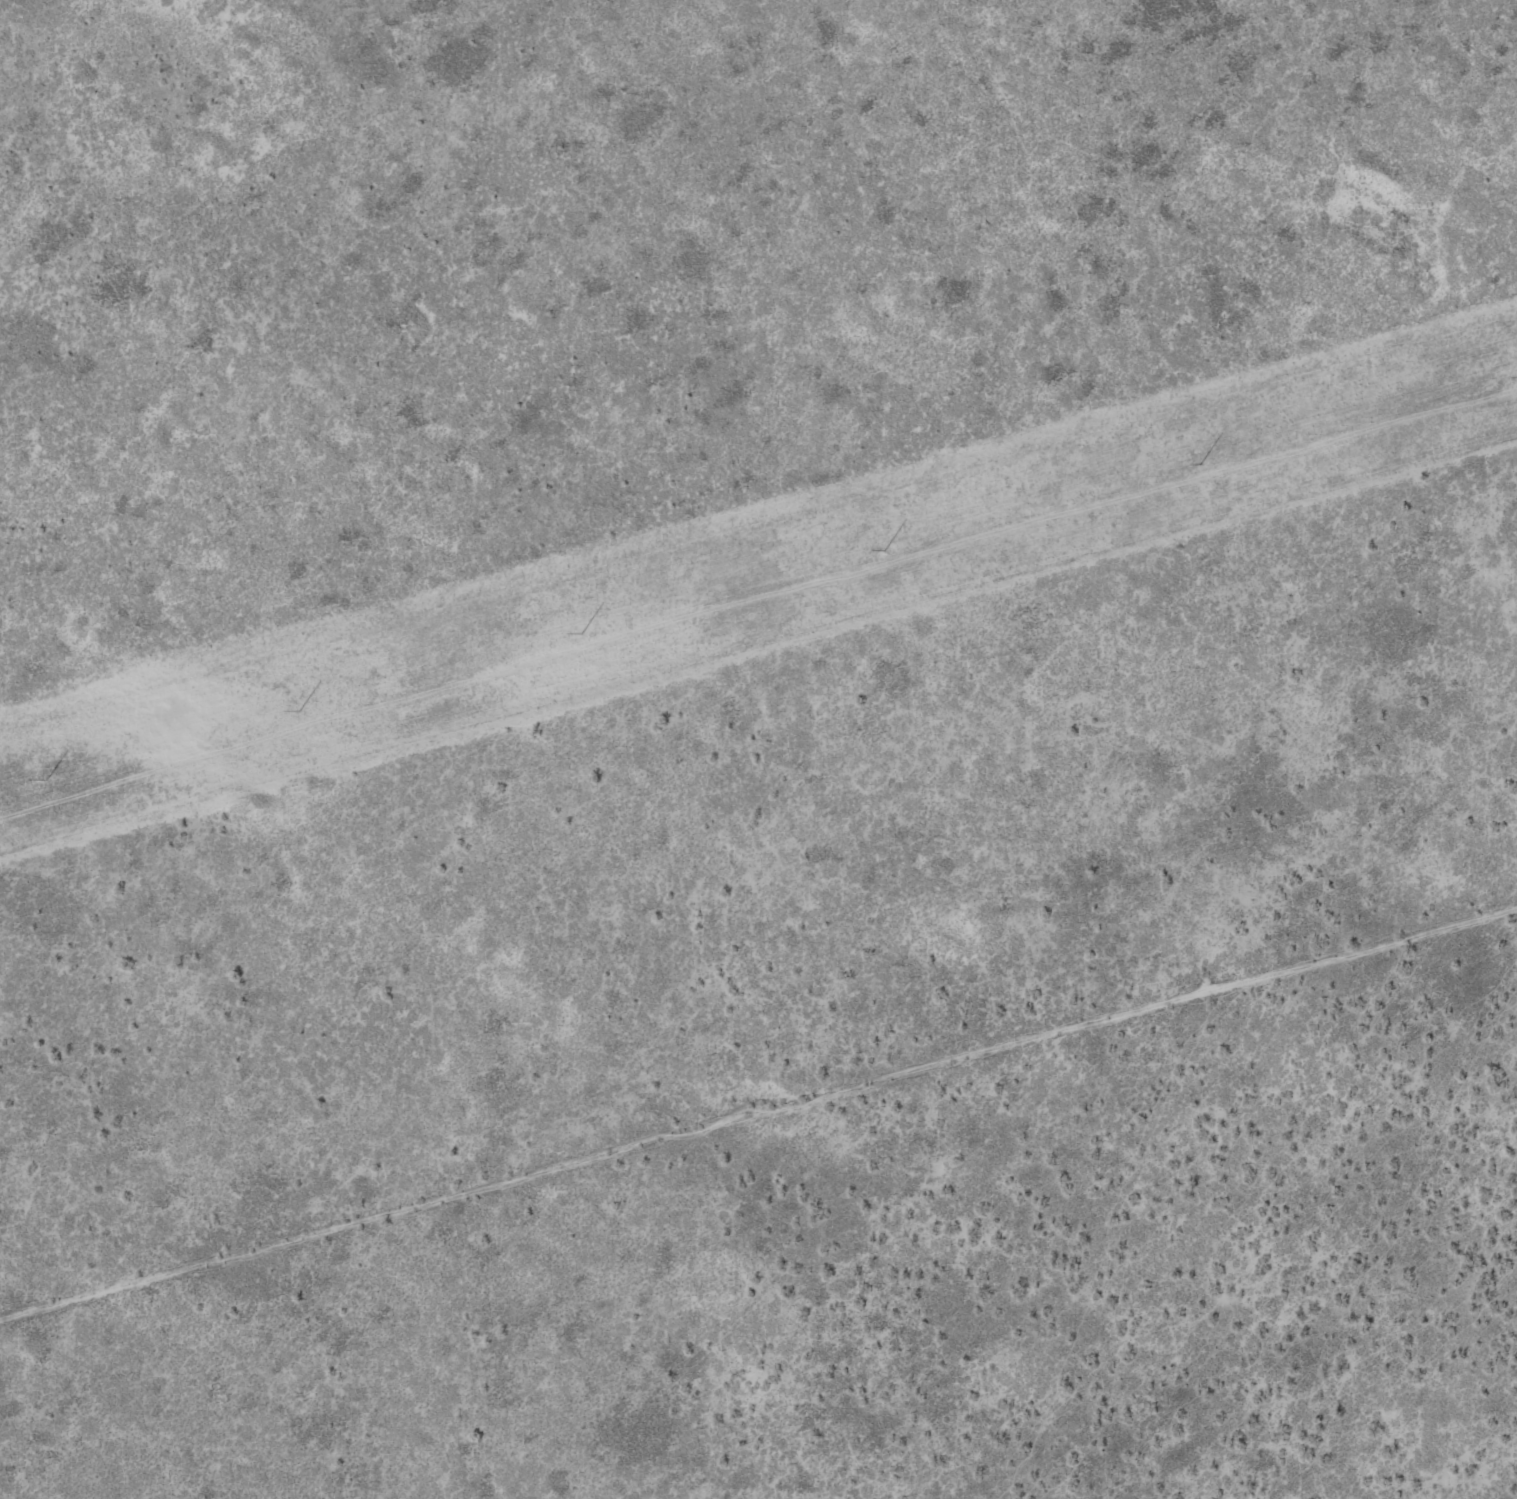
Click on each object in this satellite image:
power tower: (1199, 464)
power tower: (885, 551)
power tower: (582, 635)
power tower: (300, 711)
power tower: (46, 781)
road: (758, 1134)

